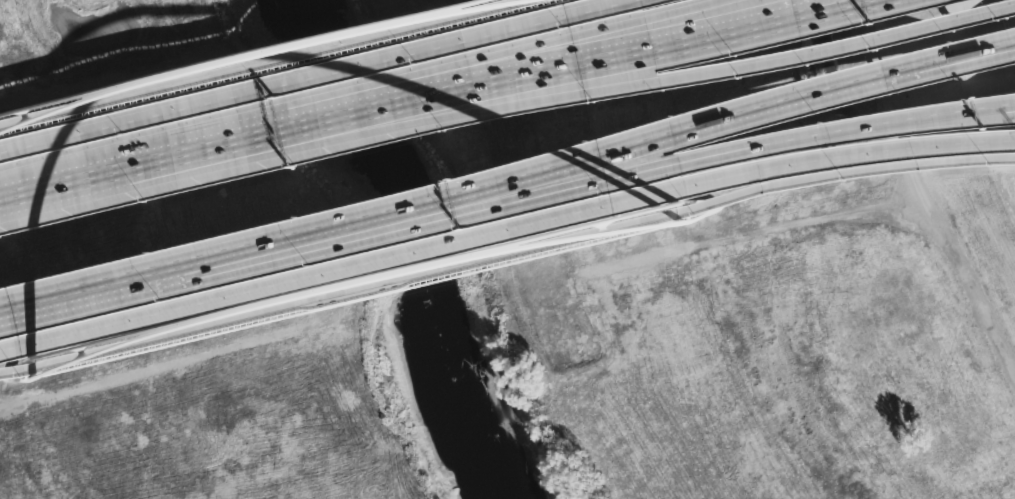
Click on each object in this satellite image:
road: (812, 5)
road: (942, 18)
road: (607, 35)
road: (644, 40)
road: (763, 59)
road: (252, 60)
road: (307, 75)
road: (421, 87)
road: (500, 91)
road: (832, 91)
road: (970, 113)
road: (260, 126)
road: (835, 129)
road: (87, 170)
road: (547, 172)
road: (551, 185)
road: (923, 192)
road: (504, 225)
park: (507, 249)
road: (505, 251)
river: (416, 252)
road: (222, 258)

